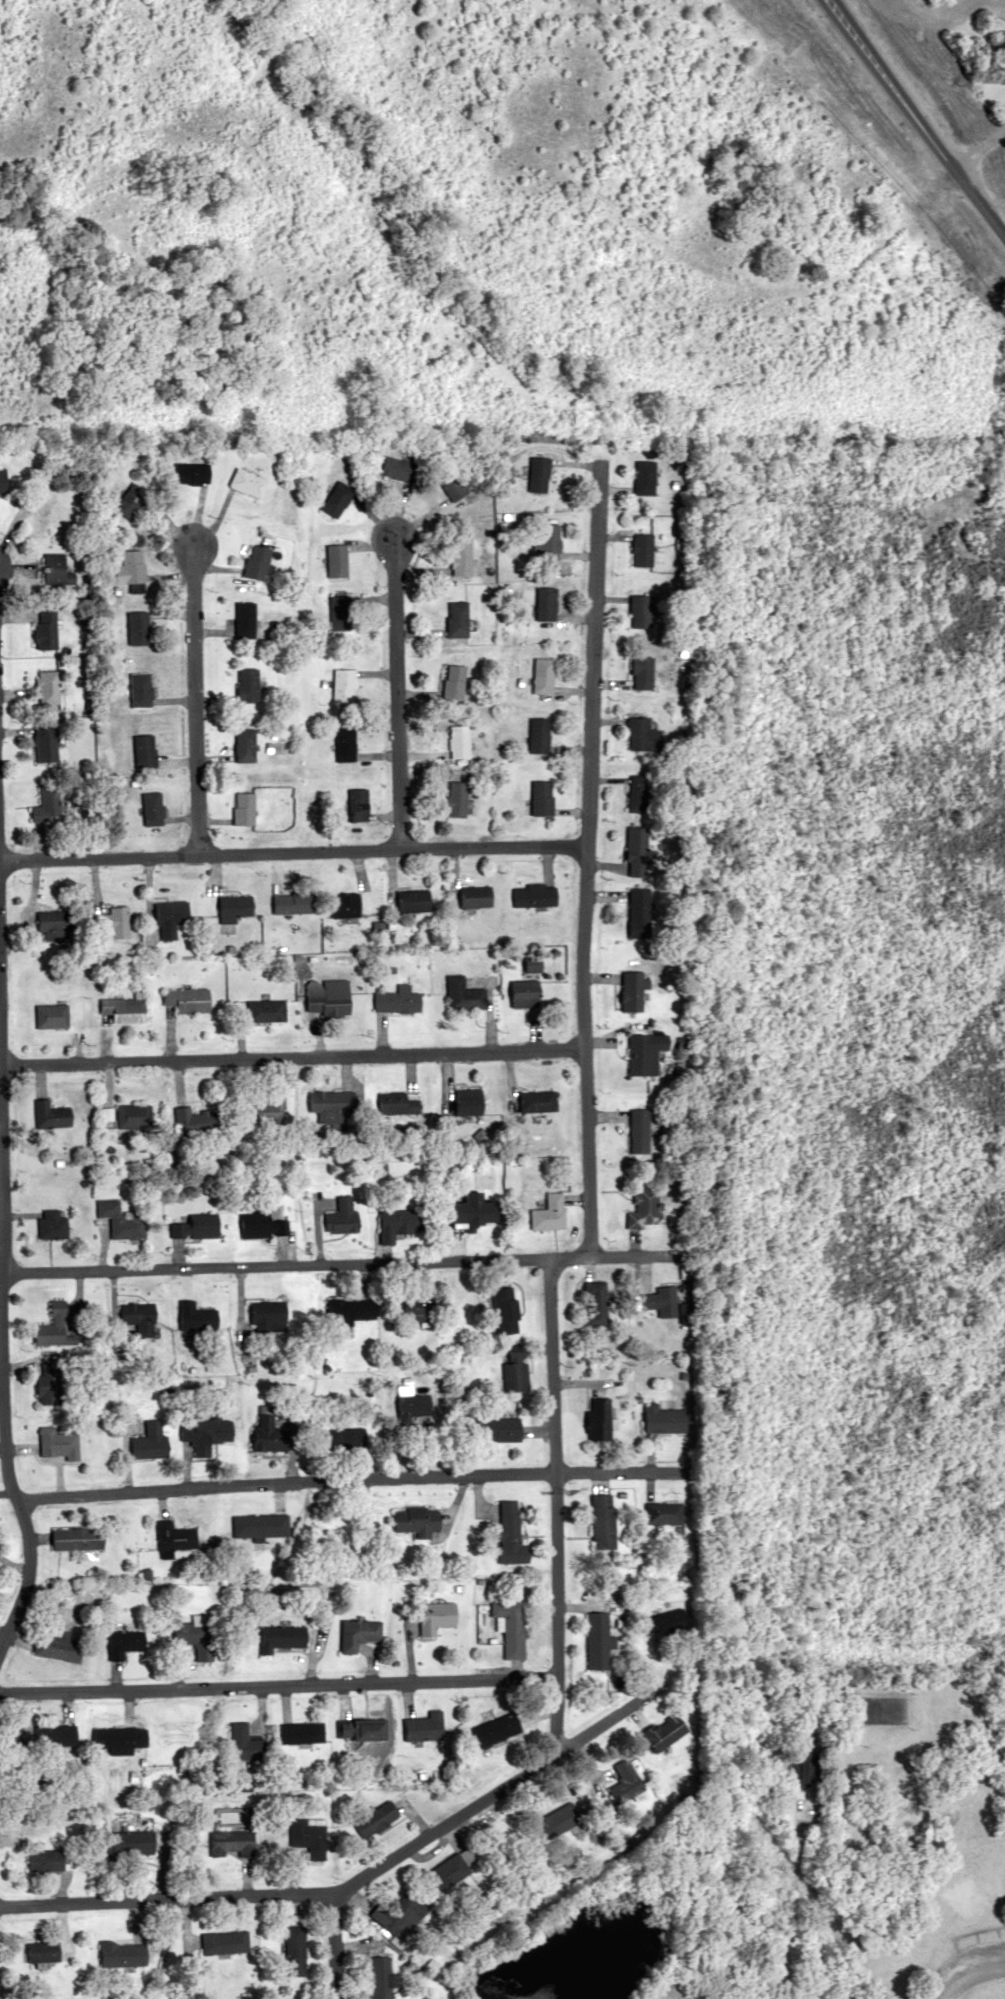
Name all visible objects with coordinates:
road: (914, 124)
road: (504, 146)
building: (396, 468)
building: (194, 473)
building: (539, 474)
building: (644, 477)
building: (2, 479)
building: (249, 482)
building: (336, 499)
building: (132, 500)
building: (54, 510)
building: (548, 541)
building: (642, 549)
building: (461, 557)
building: (337, 560)
building: (258, 562)
building: (56, 569)
building: (132, 570)
building: (546, 603)
building: (640, 611)
building: (338, 613)
building: (457, 619)
building: (245, 620)
building: (138, 627)
building: (45, 629)
building: (643, 672)
building: (543, 675)
building: (454, 682)
building: (249, 685)
building: (343, 685)
building: (47, 687)
building: (142, 689)
road: (396, 690)
road: (194, 698)
building: (541, 735)
building: (644, 735)
building: (43, 742)
building: (459, 742)
building: (344, 744)
building: (245, 745)
building: (145, 751)
building: (639, 793)
building: (457, 798)
building: (543, 798)
building: (45, 804)
building: (358, 804)
building: (152, 808)
building: (245, 808)
building: (638, 851)
road: (292, 852)
road: (585, 859)
building: (536, 895)
building: (477, 897)
building: (415, 901)
building: (293, 903)
building: (345, 905)
building: (233, 908)
building: (640, 913)
building: (169, 918)
building: (55, 923)
building: (111, 924)
building: (534, 964)
building: (633, 991)
building: (463, 994)
building: (526, 994)
building: (331, 998)
building: (187, 1000)
building: (396, 1002)
building: (126, 1008)
building: (265, 1011)
building: (52, 1016)
building: (647, 1053)
road: (291, 1055)
building: (468, 1101)
building: (539, 1101)
building: (330, 1104)
building: (398, 1104)
building: (265, 1110)
building: (51, 1115)
building: (135, 1116)
building: (196, 1119)
building: (641, 1130)
building: (645, 1206)
building: (475, 1210)
building: (550, 1213)
building: (341, 1216)
building: (122, 1220)
building: (262, 1221)
building: (396, 1223)
building: (51, 1224)
building: (197, 1227)
road: (336, 1264)
building: (662, 1301)
building: (596, 1303)
building: (504, 1308)
building: (350, 1309)
building: (415, 1312)
building: (140, 1317)
building: (198, 1317)
building: (269, 1317)
building: (53, 1326)
building: (513, 1372)
building: (50, 1383)
building: (409, 1409)
building: (665, 1419)
building: (598, 1420)
building: (497, 1428)
building: (269, 1434)
building: (206, 1435)
building: (340, 1439)
building: (152, 1442)
road: (347, 1481)
road: (12, 1492)
road: (551, 1506)
building: (664, 1513)
building: (416, 1520)
building: (603, 1521)
building: (254, 1525)
building: (509, 1534)
building: (175, 1537)
building: (78, 1538)
building: (435, 1617)
building: (667, 1620)
building: (509, 1627)
building: (357, 1633)
building: (196, 1636)
building: (281, 1637)
building: (598, 1640)
building: (125, 1644)
building: (56, 1645)
road: (276, 1686)
building: (423, 1727)
building: (496, 1728)
building: (359, 1730)
building: (666, 1731)
building: (300, 1733)
building: (56, 1735)
building: (119, 1738)
building: (243, 1743)
building: (801, 1767)
building: (625, 1781)
building: (374, 1819)
building: (558, 1820)
building: (306, 1836)
building: (131, 1841)
building: (230, 1842)
building: (51, 1859)
building: (452, 1871)
road: (354, 1880)
building: (398, 1913)
building: (223, 1942)
road: (335, 1946)
building: (293, 1950)
building: (44, 1951)
building: (123, 1954)
road: (964, 1970)
building: (379, 1978)

